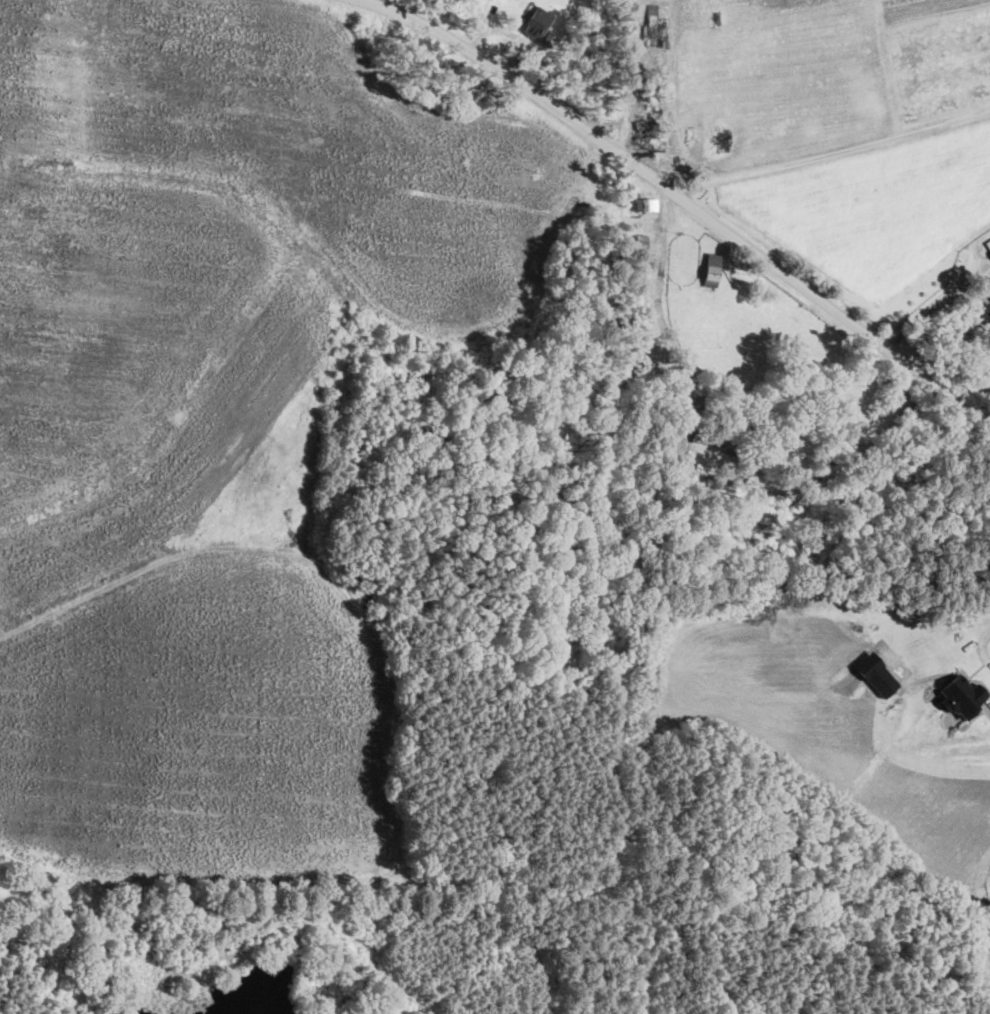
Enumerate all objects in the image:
building: (535, 21)
road: (831, 153)
road: (682, 196)
building: (645, 204)
road: (664, 237)
building: (988, 242)
building: (644, 267)
road: (948, 291)
building: (989, 296)
building: (985, 313)
building: (638, 358)
road: (983, 644)
building: (962, 696)

